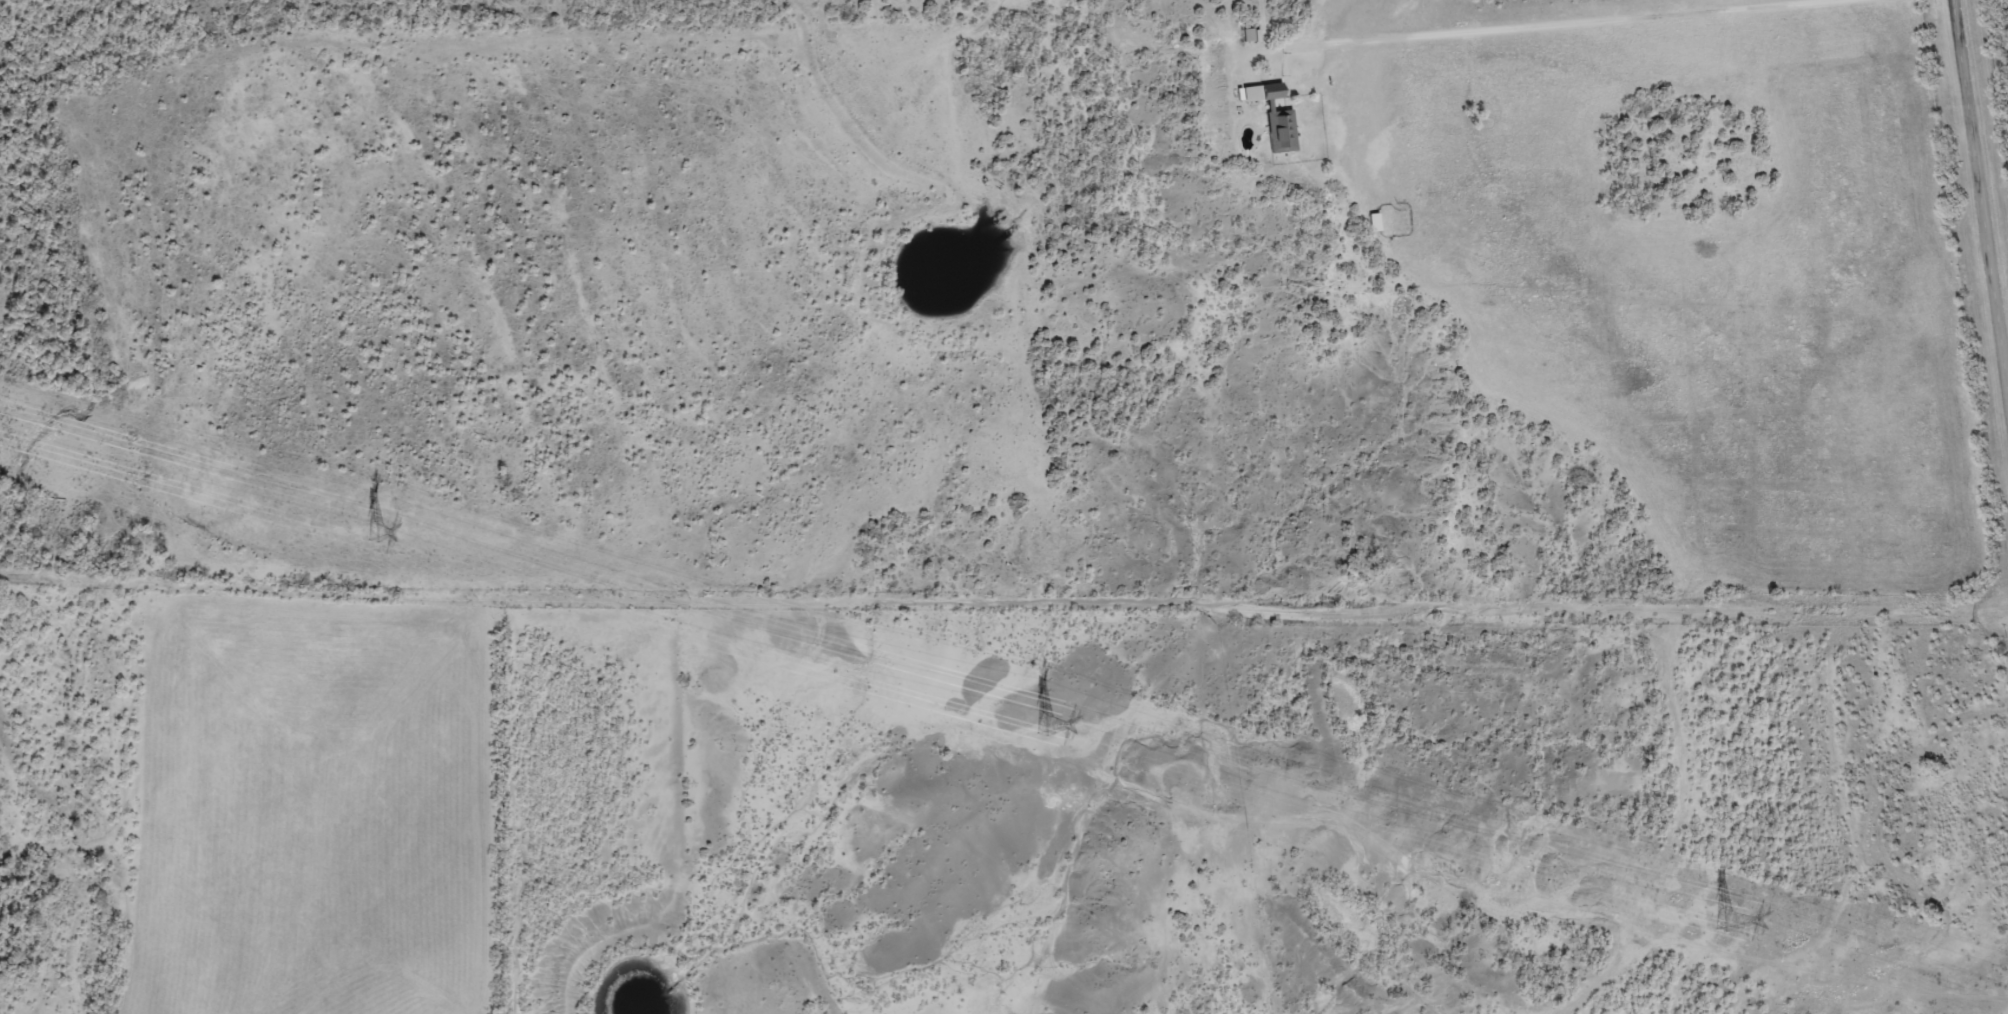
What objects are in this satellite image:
building: (1247, 35)
building: (1268, 91)
building: (1278, 130)
road: (1982, 181)
building: (1372, 223)
power tower: (371, 533)
road: (953, 594)
power tower: (1042, 725)
power tower: (1719, 918)

